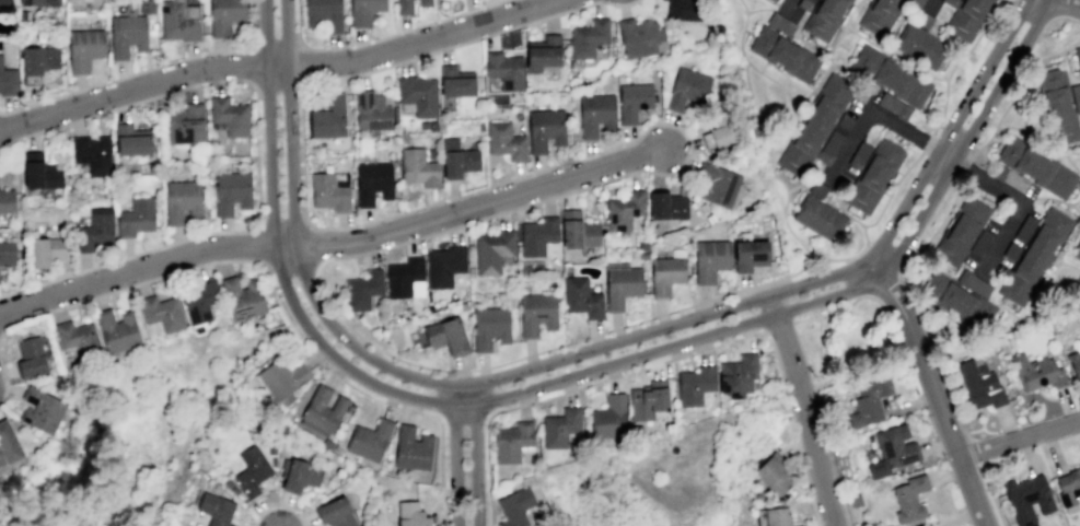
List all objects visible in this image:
building: (919, 1)
building: (37, 2)
building: (423, 2)
building: (805, 3)
road: (1066, 3)
road: (928, 4)
building: (5, 5)
building: (147, 7)
building: (403, 7)
road: (1060, 8)
road: (759, 9)
road: (791, 9)
building: (683, 10)
building: (363, 11)
building: (878, 13)
building: (323, 14)
building: (224, 15)
road: (785, 15)
building: (967, 16)
building: (824, 17)
building: (179, 20)
building: (922, 20)
building: (780, 23)
road: (1044, 26)
building: (127, 32)
building: (638, 36)
road: (381, 37)
building: (588, 37)
road: (806, 43)
road: (276, 46)
building: (920, 46)
building: (84, 48)
building: (543, 52)
building: (783, 54)
road: (895, 54)
building: (1075, 58)
building: (37, 60)
road: (829, 61)
road: (252, 66)
road: (302, 66)
road: (762, 66)
road: (277, 67)
road: (147, 68)
building: (504, 70)
building: (890, 72)
road: (783, 80)
building: (8, 81)
building: (456, 82)
road: (277, 85)
road: (812, 86)
building: (687, 90)
road: (1017, 90)
building: (418, 95)
building: (1077, 97)
building: (632, 101)
road: (937, 103)
building: (893, 105)
building: (1059, 107)
road: (753, 108)
building: (372, 112)
building: (595, 114)
building: (228, 116)
building: (327, 117)
building: (814, 120)
road: (785, 122)
building: (185, 124)
building: (423, 125)
building: (432, 125)
building: (720, 127)
building: (544, 129)
building: (403, 138)
building: (132, 140)
building: (504, 140)
road: (992, 140)
road: (1035, 140)
road: (920, 150)
building: (92, 153)
building: (432, 153)
road: (945, 153)
road: (256, 154)
road: (983, 157)
building: (457, 159)
road: (1070, 163)
building: (1033, 165)
building: (418, 167)
road: (963, 168)
building: (39, 172)
building: (873, 172)
road: (670, 173)
building: (340, 179)
road: (983, 179)
building: (1015, 180)
building: (372, 182)
building: (717, 184)
road: (831, 187)
building: (231, 191)
building: (329, 192)
road: (983, 195)
road: (1052, 198)
building: (5, 200)
building: (183, 201)
road: (792, 202)
road: (844, 203)
building: (667, 206)
road: (1075, 208)
building: (624, 210)
building: (818, 213)
building: (136, 217)
road: (849, 220)
road: (283, 222)
building: (1027, 230)
building: (94, 231)
building: (578, 231)
road: (934, 231)
building: (962, 232)
building: (537, 235)
road: (1067, 239)
road: (260, 242)
road: (333, 244)
building: (983, 245)
road: (312, 246)
building: (46, 249)
building: (492, 249)
building: (7, 253)
building: (1013, 253)
building: (1077, 254)
building: (750, 255)
building: (709, 259)
building: (1036, 259)
building: (444, 265)
road: (289, 266)
building: (665, 274)
road: (852, 277)
building: (405, 279)
road: (885, 284)
building: (622, 285)
building: (975, 285)
road: (1041, 288)
building: (362, 290)
building: (243, 297)
building: (581, 297)
building: (200, 300)
road: (276, 300)
road: (997, 301)
building: (962, 304)
road: (840, 308)
building: (161, 312)
building: (537, 313)
building: (263, 316)
road: (777, 326)
building: (489, 327)
building: (117, 330)
building: (446, 336)
building: (77, 337)
park: (847, 342)
road: (818, 350)
road: (581, 352)
building: (30, 358)
road: (670, 360)
building: (1076, 366)
building: (1036, 371)
road: (582, 374)
building: (738, 375)
building: (280, 377)
road: (5, 384)
building: (695, 385)
building: (980, 385)
road: (932, 389)
building: (648, 399)
building: (869, 400)
road: (803, 409)
building: (40, 410)
building: (323, 410)
building: (608, 417)
building: (560, 426)
road: (1019, 439)
building: (369, 440)
building: (512, 441)
building: (8, 443)
building: (327, 444)
building: (411, 448)
building: (271, 449)
building: (893, 449)
road: (829, 454)
road: (453, 455)
road: (474, 455)
road: (974, 455)
building: (272, 461)
building: (251, 470)
road: (982, 470)
building: (773, 474)
building: (298, 475)
building: (228, 483)
building: (1069, 487)
building: (234, 490)
building: (909, 498)
building: (1026, 498)
building: (856, 501)
road: (277, 505)
building: (514, 506)
building: (216, 509)
building: (335, 512)
building: (410, 514)
building: (777, 516)
building: (1035, 525)

